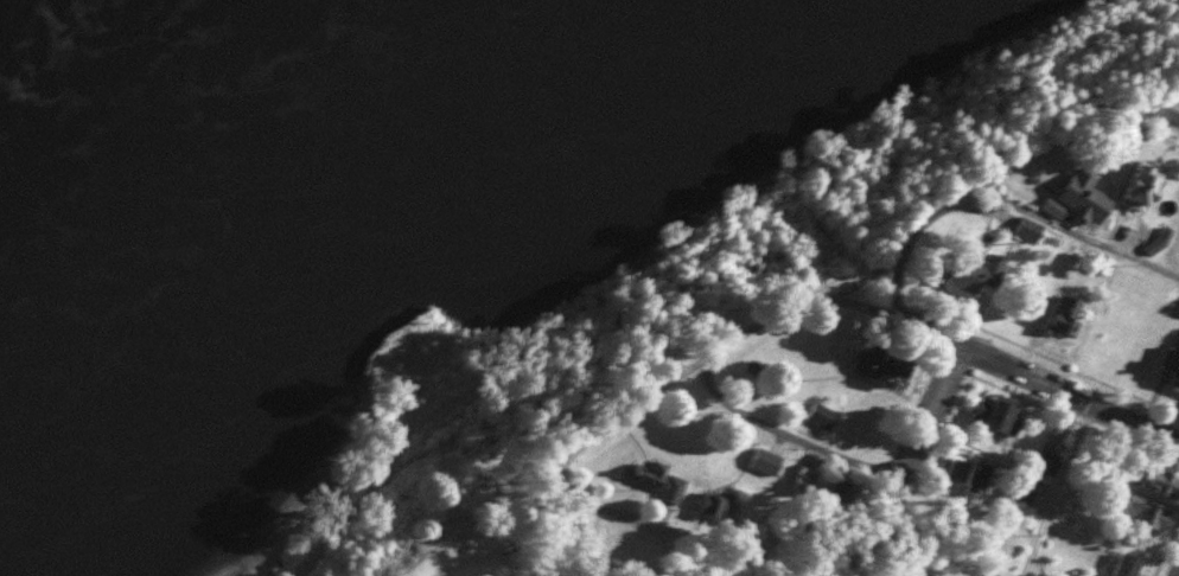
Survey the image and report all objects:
park: (1119, 41)
river: (58, 46)
road: (1151, 113)
building: (1142, 186)
building: (1084, 197)
road: (909, 233)
road: (1072, 237)
building: (976, 275)
road: (891, 292)
building: (1066, 315)
building: (881, 366)
road: (1002, 371)
building: (1173, 375)
road: (922, 408)
building: (996, 411)
road: (777, 434)
road: (571, 449)
building: (1047, 460)
building: (769, 462)
building: (975, 475)
building: (655, 479)
building: (802, 479)
building: (1161, 482)
building: (1025, 486)
road: (1046, 491)
building: (842, 492)
building: (715, 508)
building: (1146, 511)
building: (1128, 565)
building: (1002, 572)

